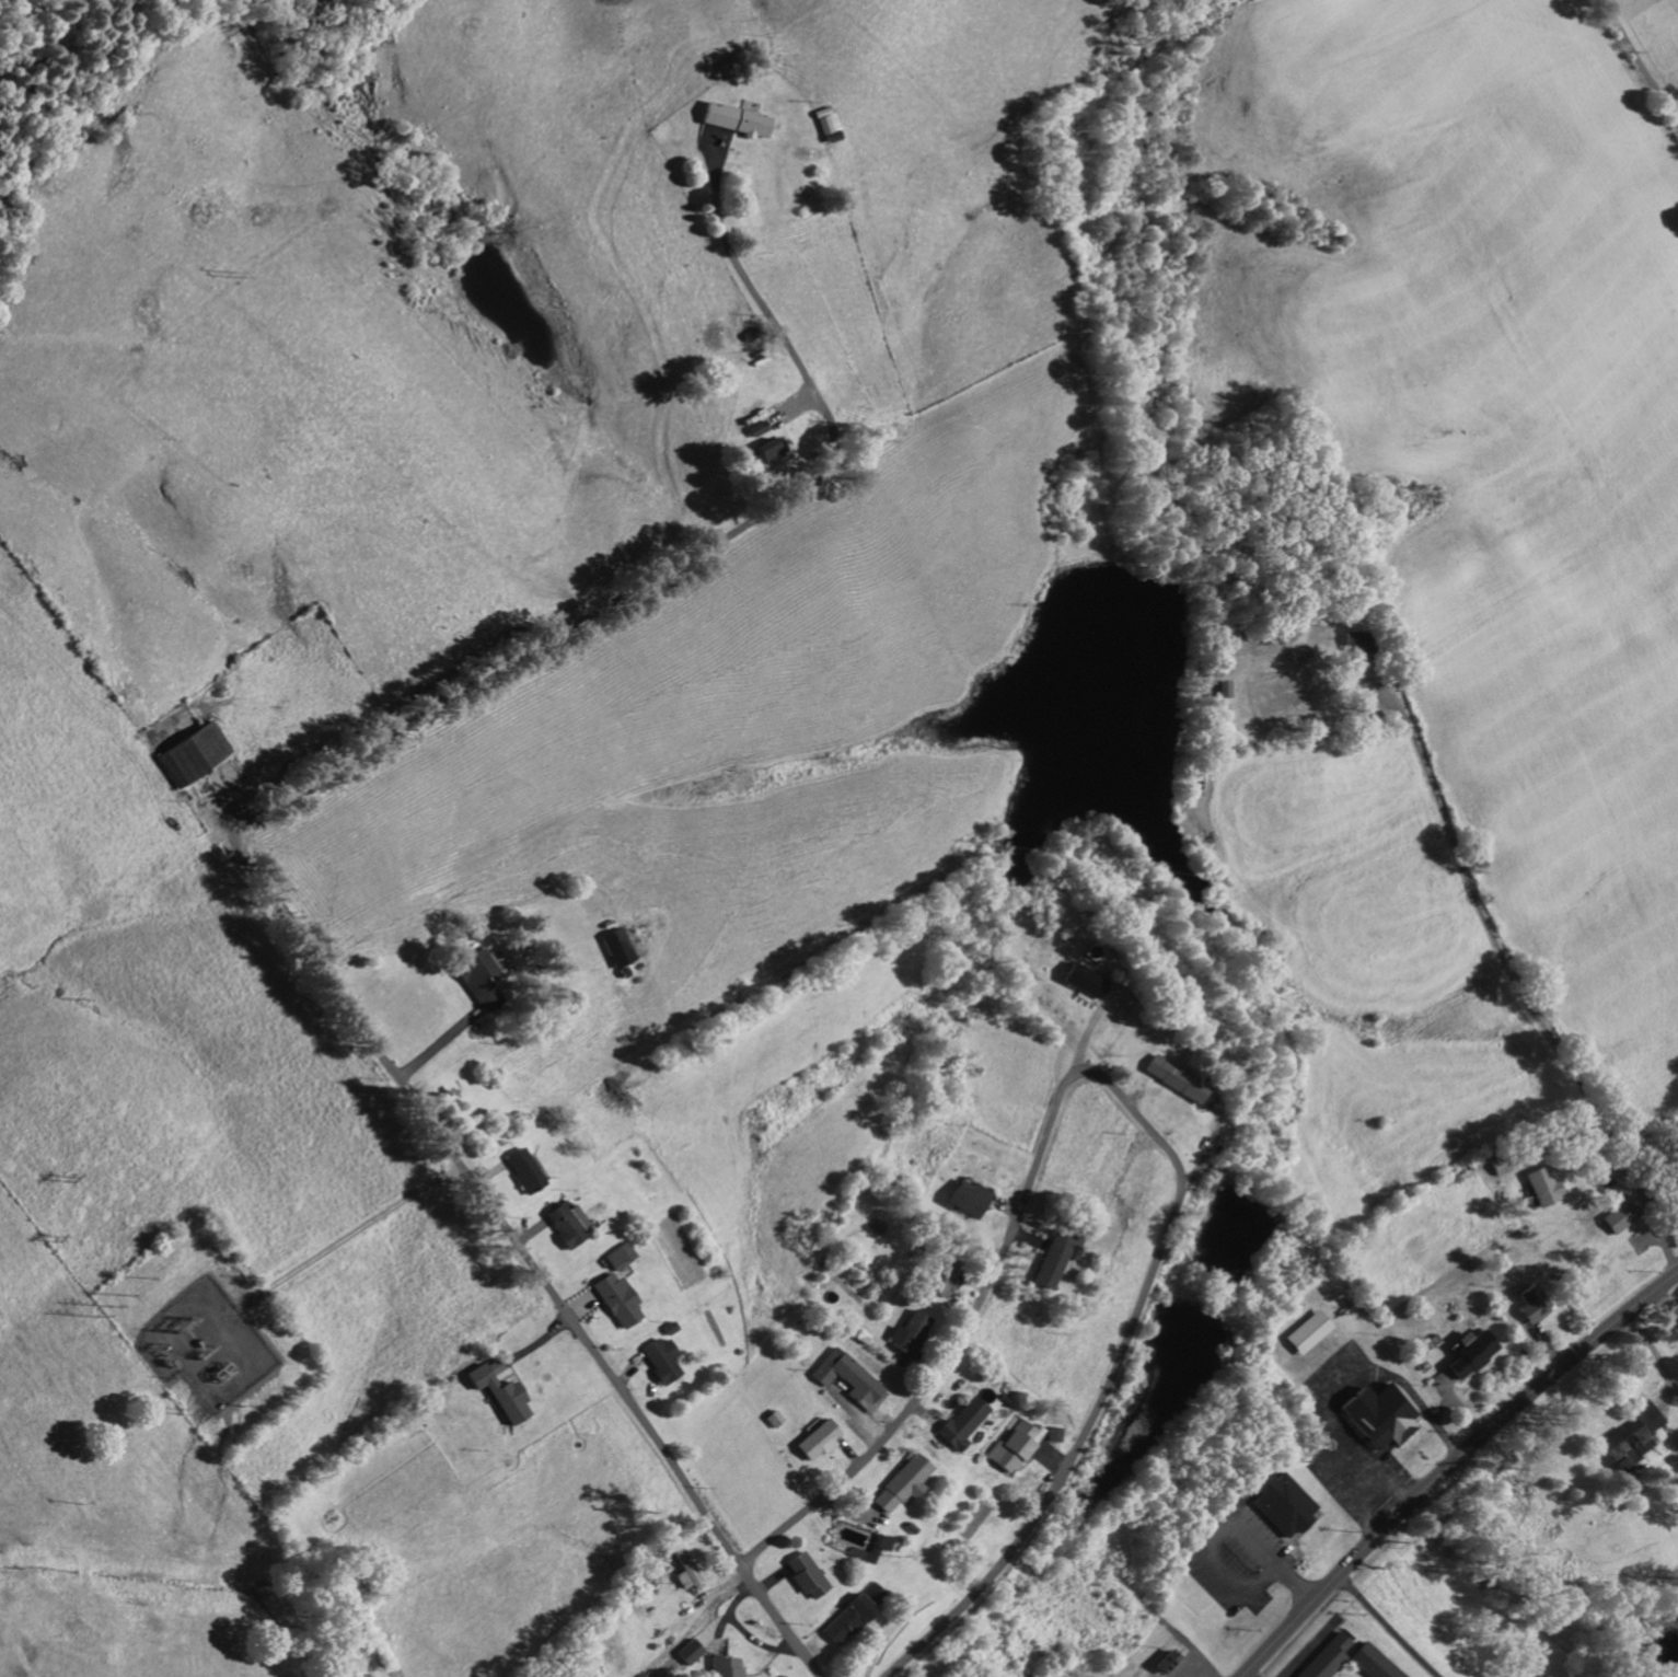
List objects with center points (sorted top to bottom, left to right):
road: (1635, 70)
building: (738, 122)
building: (825, 123)
building: (711, 142)
building: (762, 451)
building: (1345, 641)
building: (1219, 690)
building: (187, 753)
road: (240, 847)
building: (471, 979)
building: (1076, 981)
road: (1514, 987)
building: (1165, 1079)
road: (1120, 1110)
building: (519, 1171)
building: (1539, 1188)
building: (962, 1199)
building: (1616, 1217)
building: (560, 1225)
building: (613, 1257)
building: (1051, 1262)
building: (936, 1281)
building: (610, 1300)
building: (1526, 1306)
building: (903, 1333)
building: (1301, 1333)
building: (1466, 1354)
building: (655, 1362)
building: (845, 1381)
building: (494, 1392)
building: (1376, 1416)
building: (768, 1420)
building: (957, 1423)
building: (1052, 1436)
building: (1628, 1439)
building: (813, 1442)
building: (1009, 1448)
road: (1448, 1464)
building: (896, 1485)
building: (1276, 1504)
building: (685, 1566)
building: (802, 1576)
building: (869, 1595)
building: (842, 1621)
building: (687, 1652)
building: (1324, 1658)
building: (1162, 1663)
building: (1368, 1663)
building: (719, 1667)

